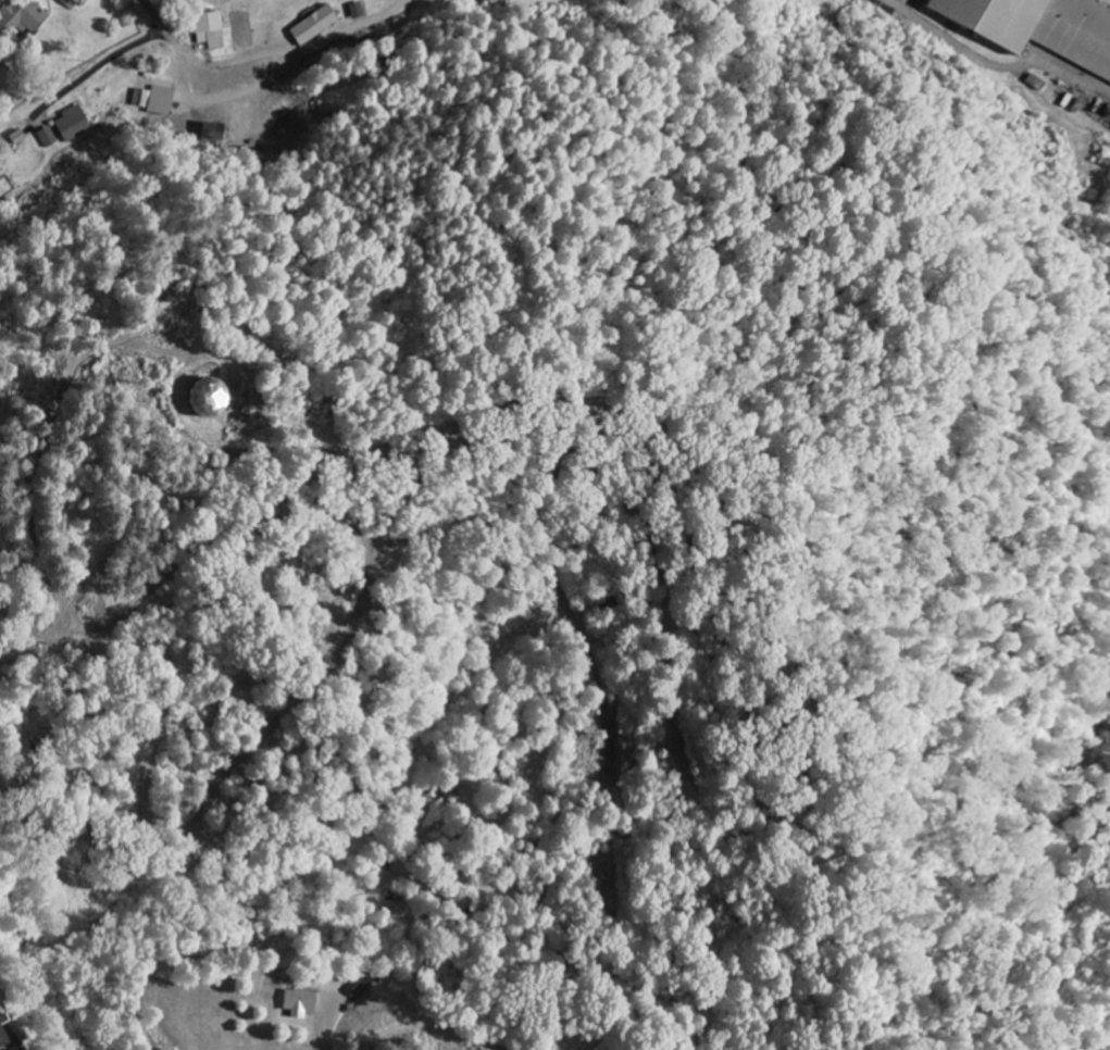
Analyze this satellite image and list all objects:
building: (484, 0)
building: (67, 3)
building: (353, 11)
building: (22, 15)
building: (311, 25)
building: (1039, 28)
building: (204, 30)
building: (150, 100)
building: (70, 124)
building: (43, 137)
building: (199, 398)
building: (295, 1003)
building: (1, 1021)
building: (2, 1041)

